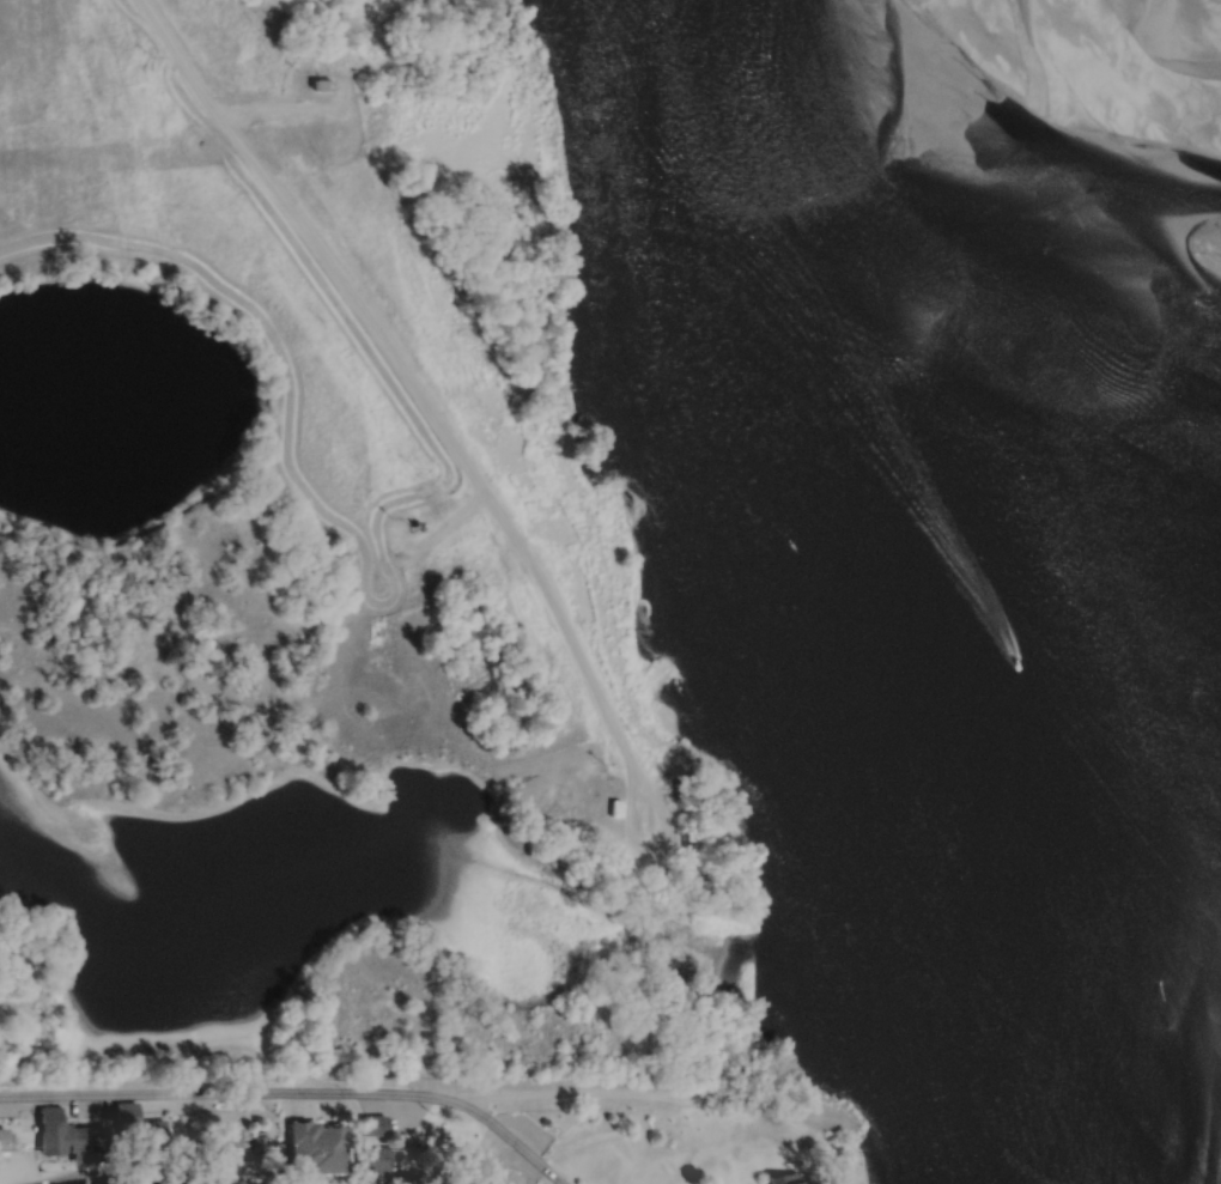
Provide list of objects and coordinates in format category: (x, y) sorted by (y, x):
building: (323, 86)
river: (1164, 142)
road: (403, 368)
building: (616, 809)
road: (634, 821)
road: (294, 1094)
building: (63, 1135)
building: (1, 1139)
building: (225, 1140)
building: (312, 1147)
building: (466, 1171)
building: (779, 1178)

